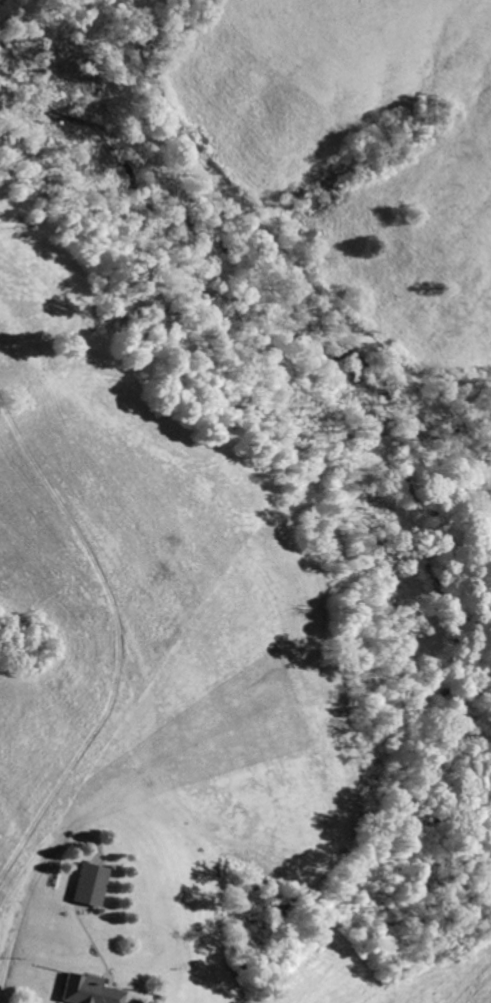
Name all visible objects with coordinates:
road: (32, 880)
building: (95, 885)
building: (92, 989)
road: (130, 1002)

